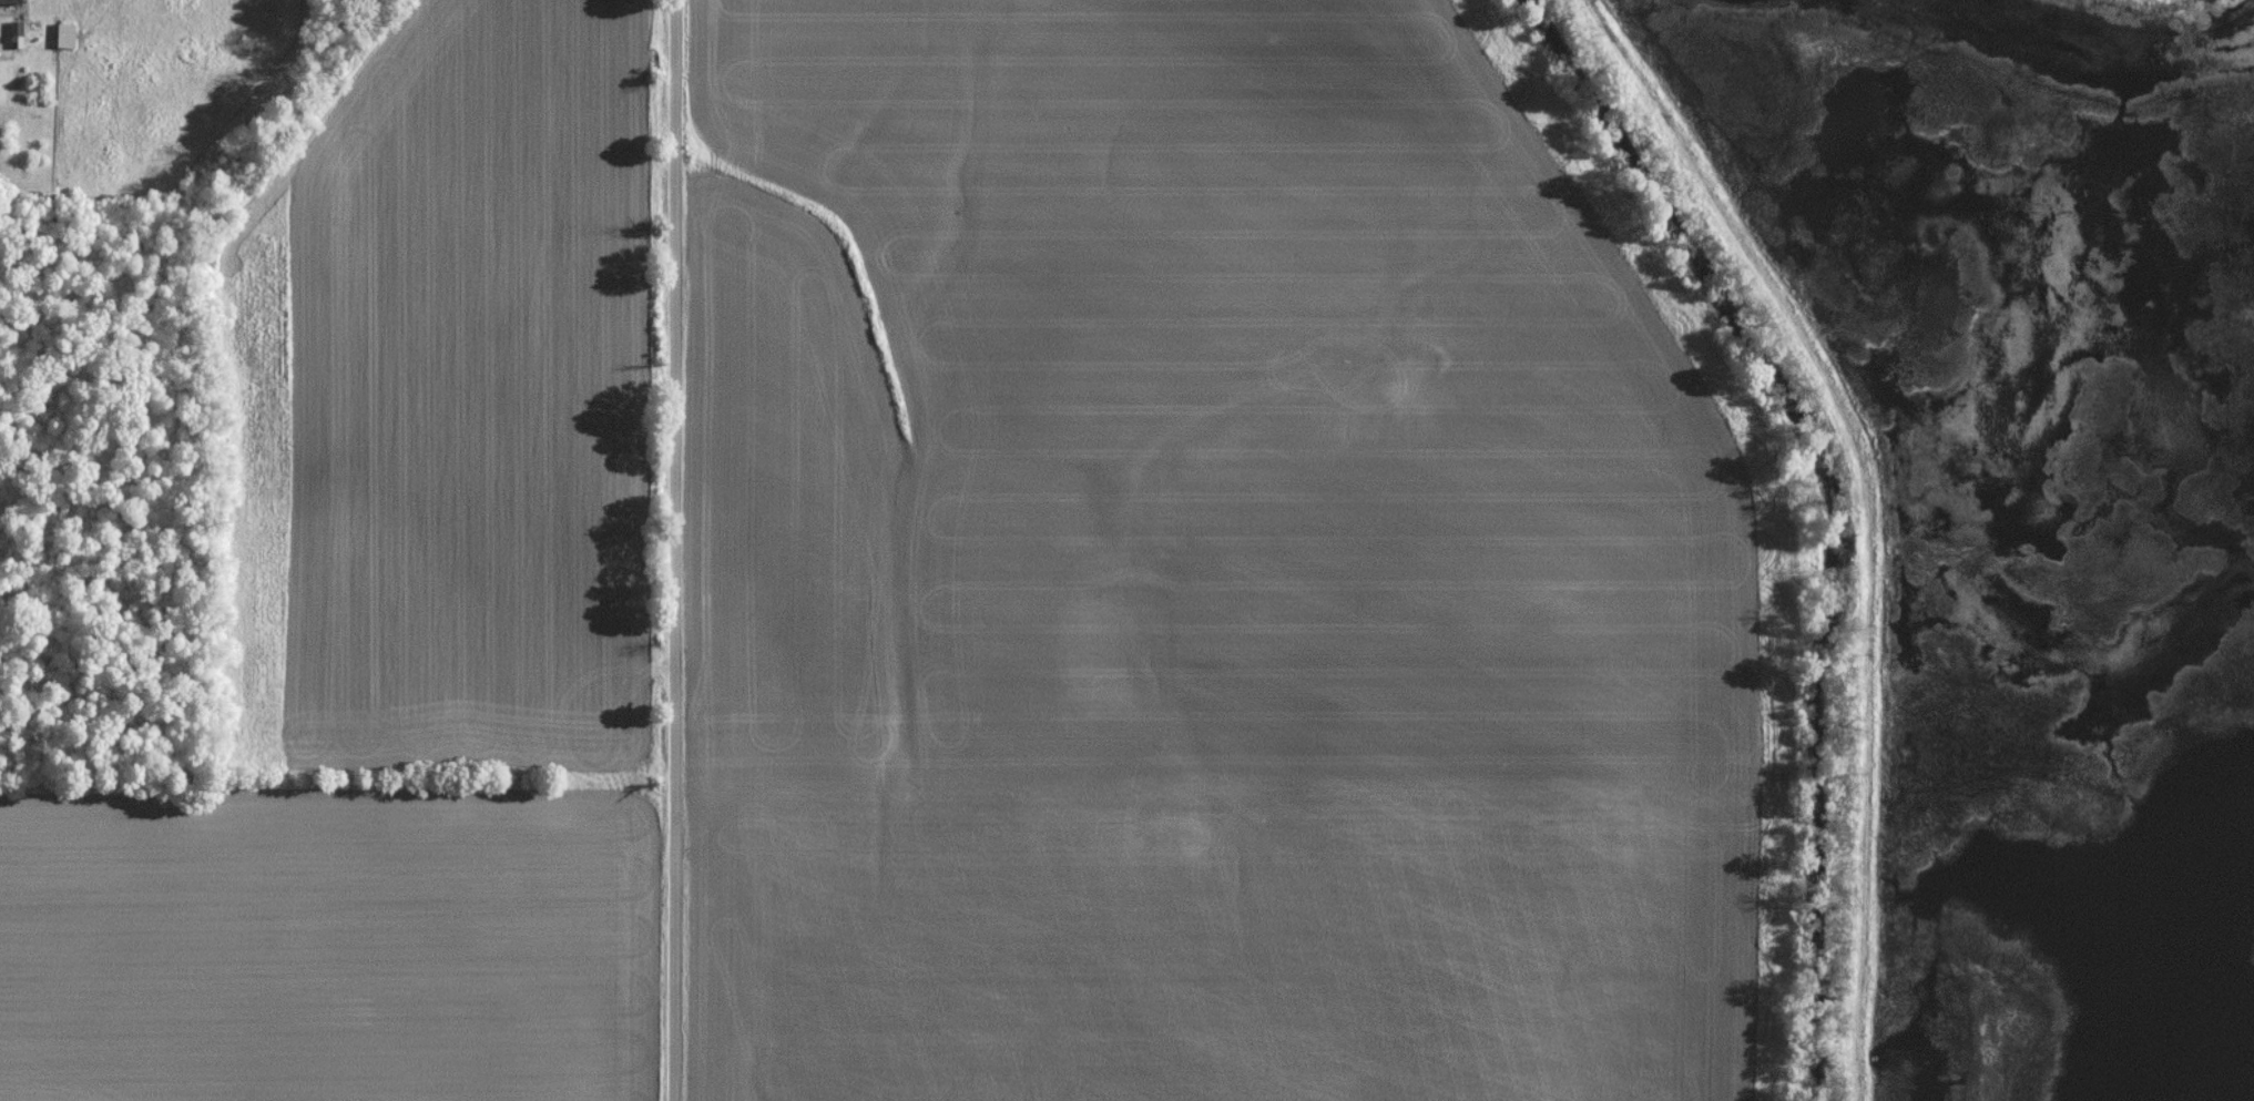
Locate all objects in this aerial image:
building: (8, 1)
building: (63, 35)
road: (673, 550)

